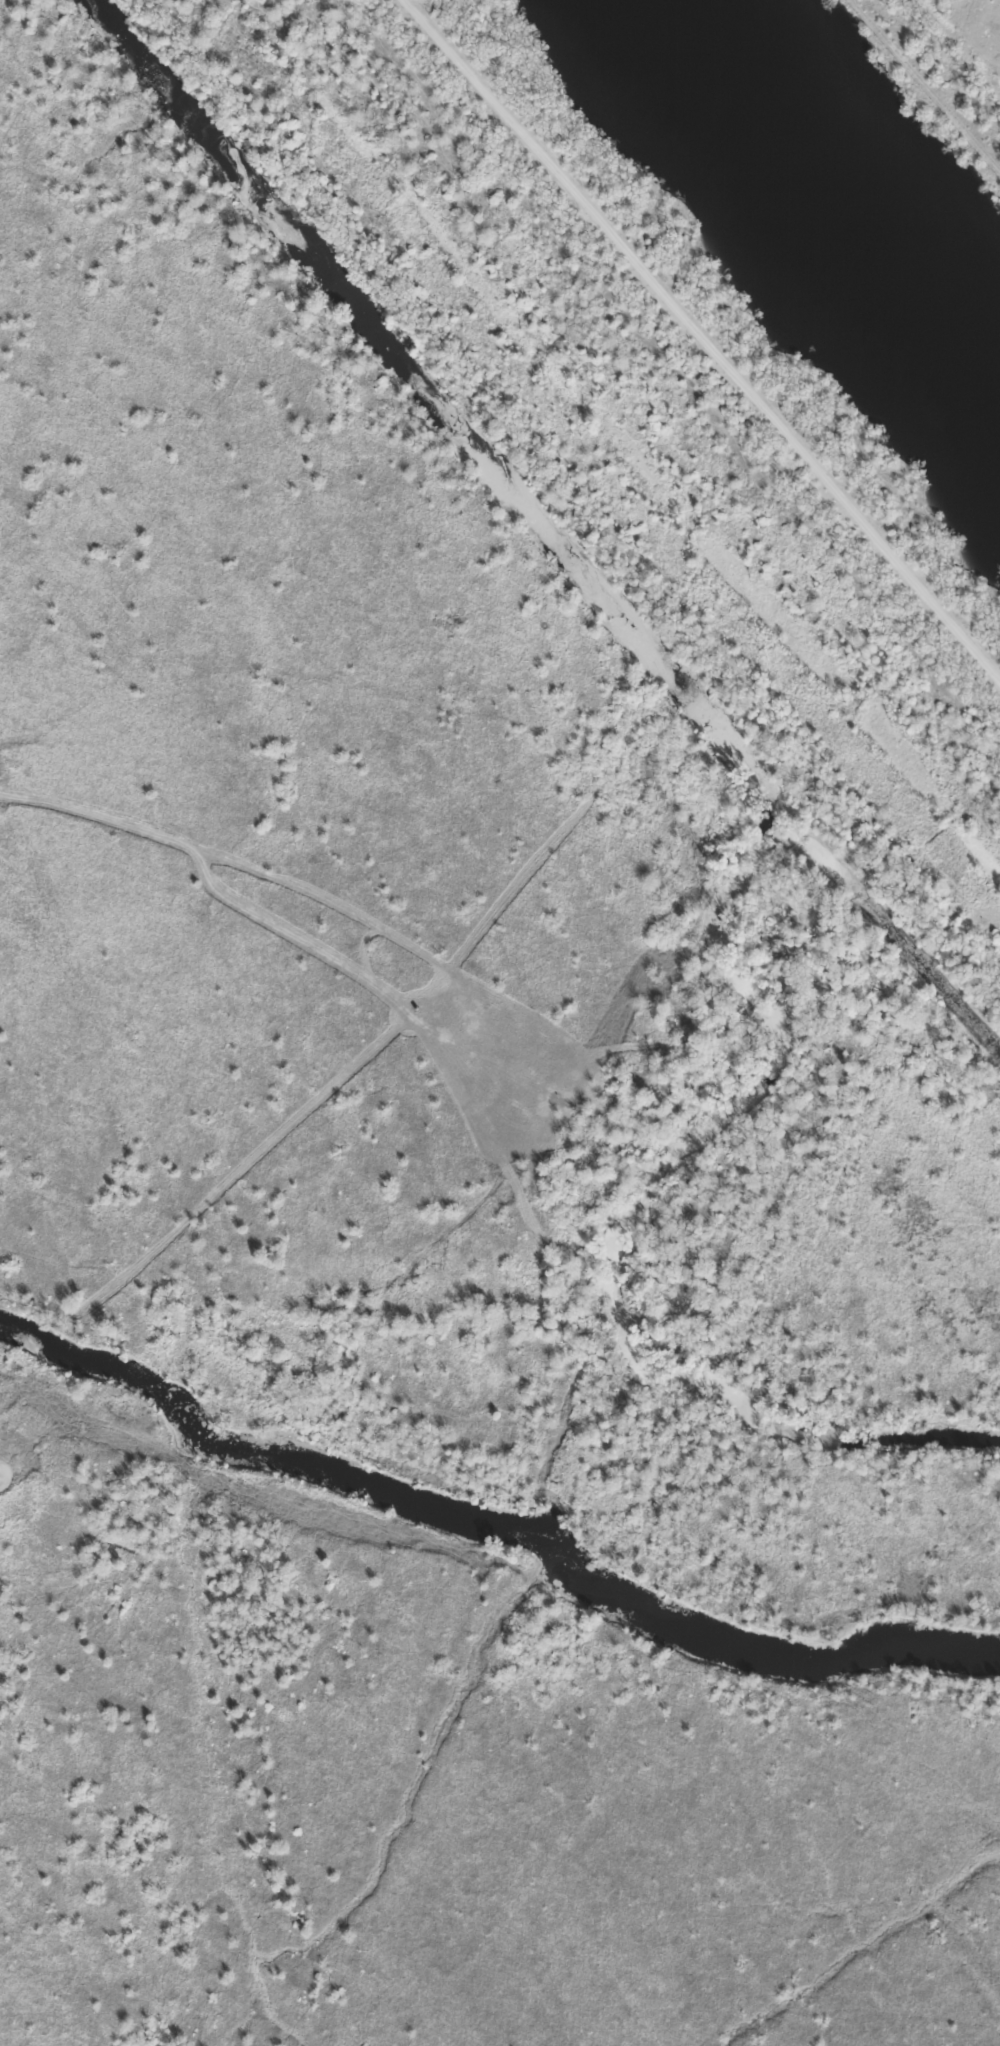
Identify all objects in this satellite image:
road: (707, 334)

